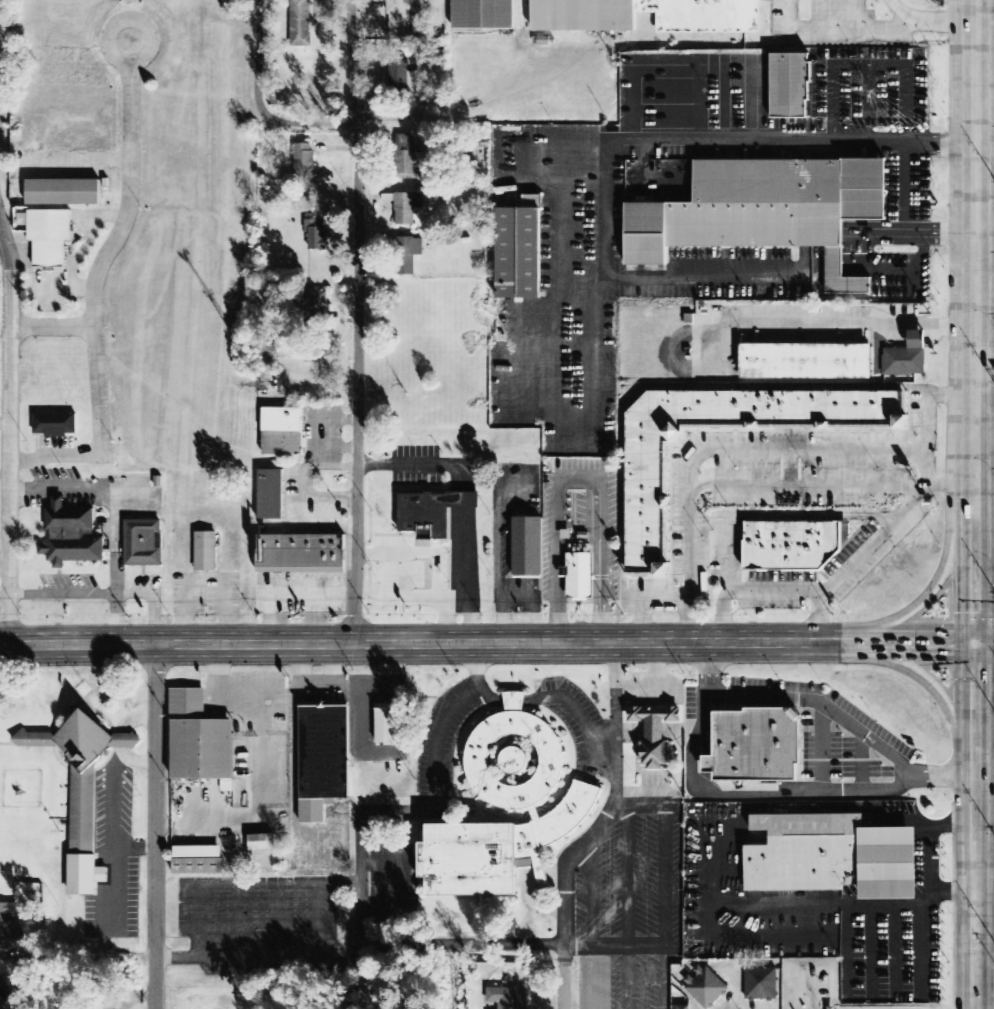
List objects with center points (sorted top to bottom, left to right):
building: (482, 14)
building: (400, 19)
building: (581, 21)
building: (301, 23)
road: (261, 57)
building: (398, 70)
building: (792, 84)
road: (351, 123)
building: (410, 158)
building: (304, 160)
building: (63, 192)
building: (405, 209)
building: (761, 210)
building: (316, 235)
building: (49, 236)
road: (972, 246)
road: (6, 247)
building: (523, 248)
road: (107, 251)
building: (409, 255)
building: (316, 308)
road: (770, 318)
road: (356, 322)
road: (52, 327)
parking lot: (810, 327)
building: (908, 357)
building: (807, 362)
road: (983, 383)
building: (55, 425)
building: (285, 430)
road: (56, 457)
road: (10, 458)
building: (273, 493)
building: (647, 494)
building: (429, 508)
building: (71, 536)
building: (144, 541)
building: (786, 542)
building: (527, 546)
building: (206, 552)
building: (302, 553)
road: (971, 566)
building: (578, 571)
road: (927, 602)
traffic signals: (972, 640)
road: (892, 641)
road: (983, 641)
road: (406, 644)
road: (906, 667)
road: (973, 688)
building: (386, 725)
road: (984, 726)
building: (655, 731)
building: (200, 741)
building: (751, 743)
building: (323, 760)
building: (81, 790)
building: (517, 794)
road: (608, 811)
road: (156, 827)
building: (262, 843)
building: (830, 853)
building: (198, 861)
road: (975, 873)
building: (10, 929)
road: (361, 957)
building: (762, 984)
building: (705, 987)
road: (565, 988)
building: (3, 992)
building: (95, 1007)
building: (684, 1007)

